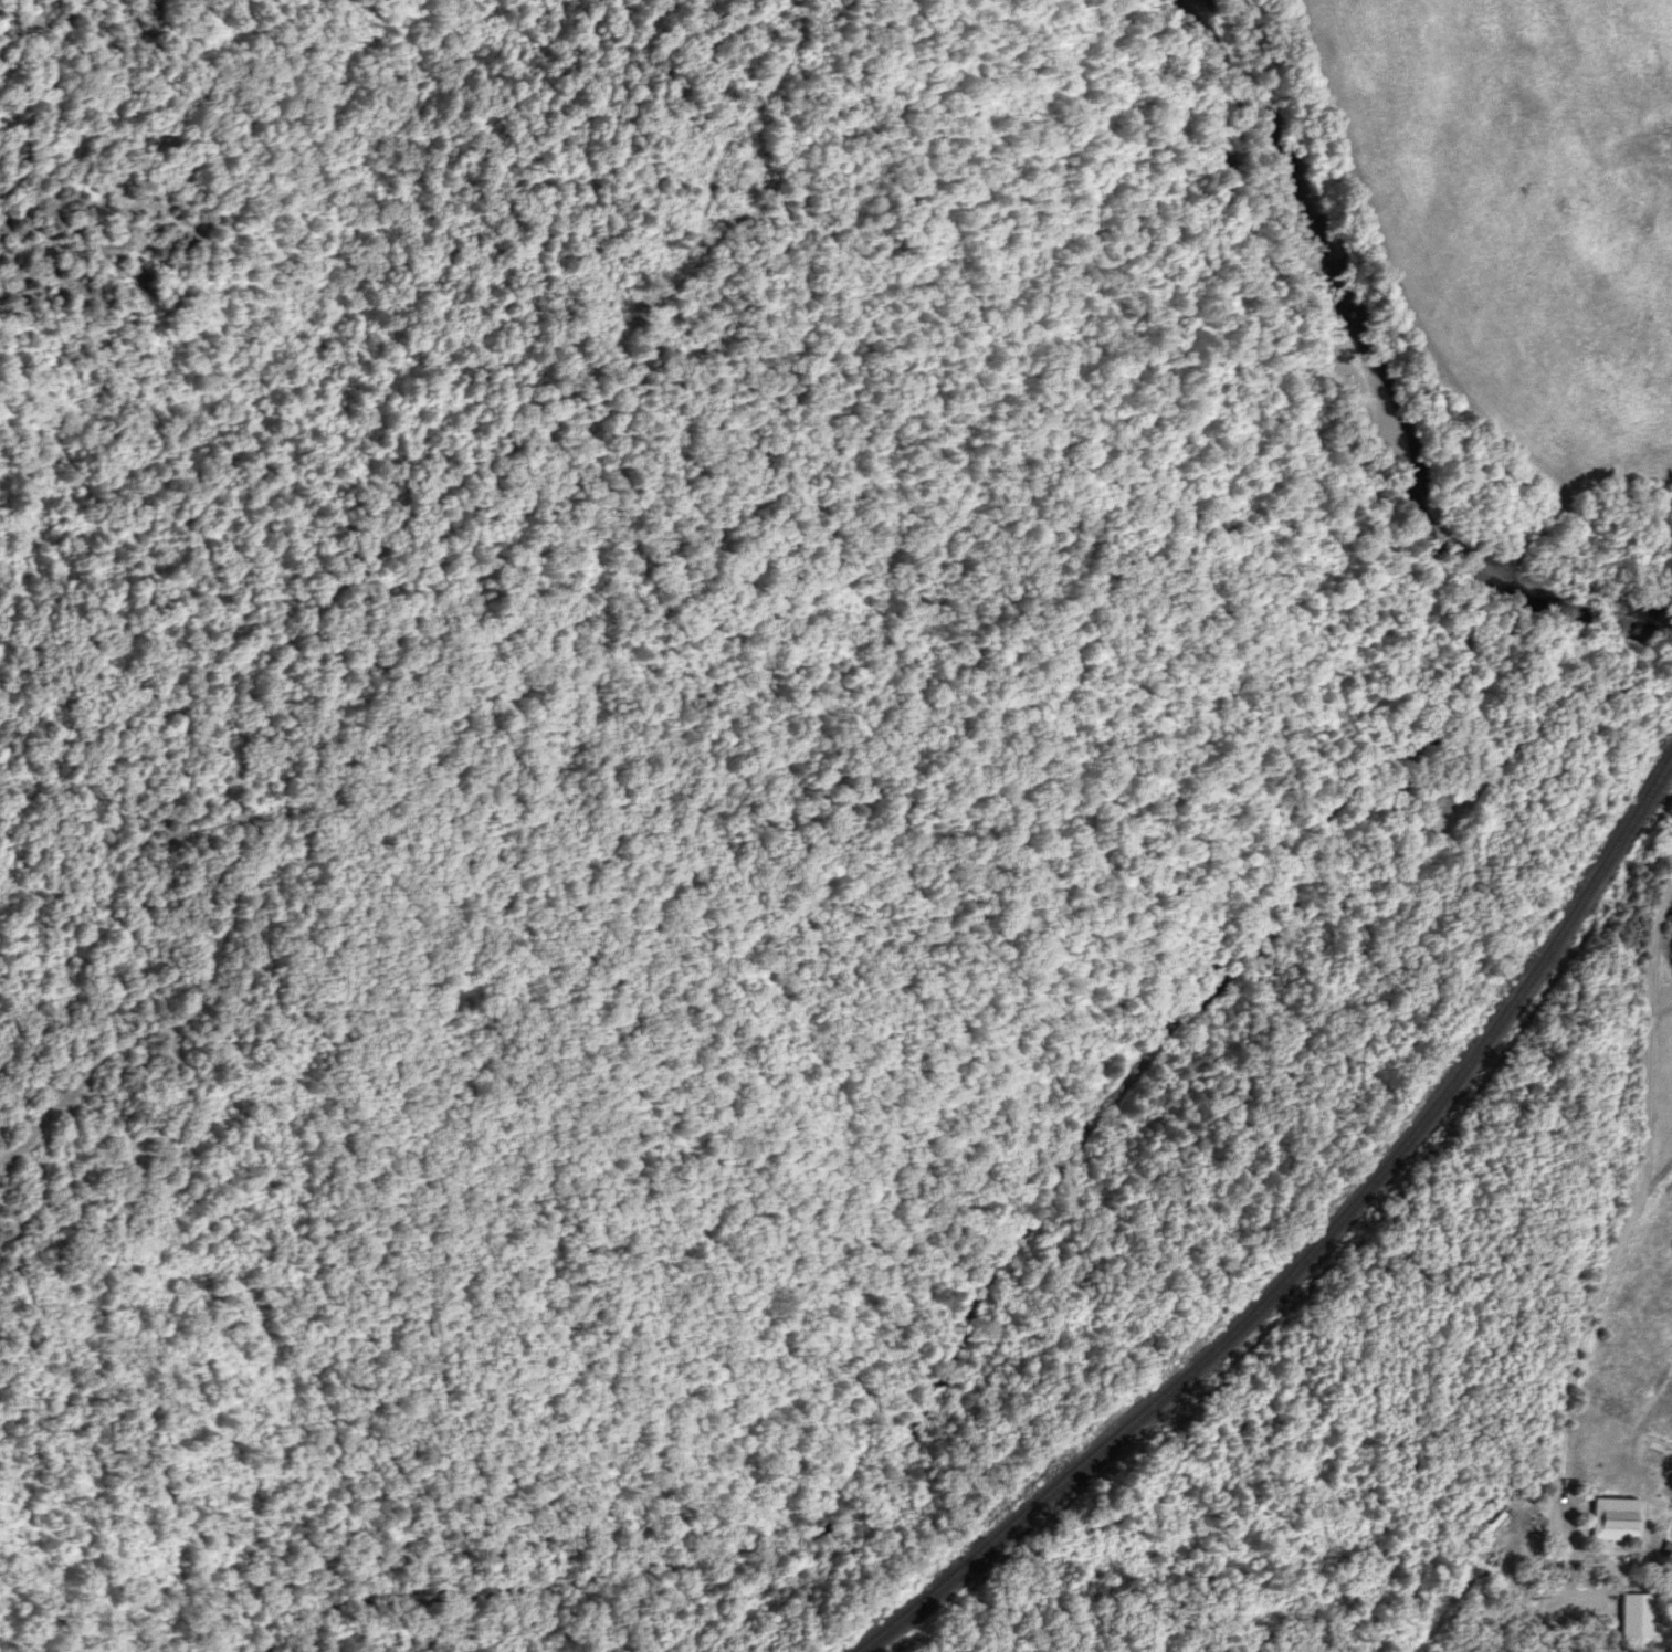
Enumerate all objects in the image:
road: (1550, 718)
road: (1632, 1207)
railway: (1316, 1250)
building: (1617, 1519)
road: (1475, 1579)

